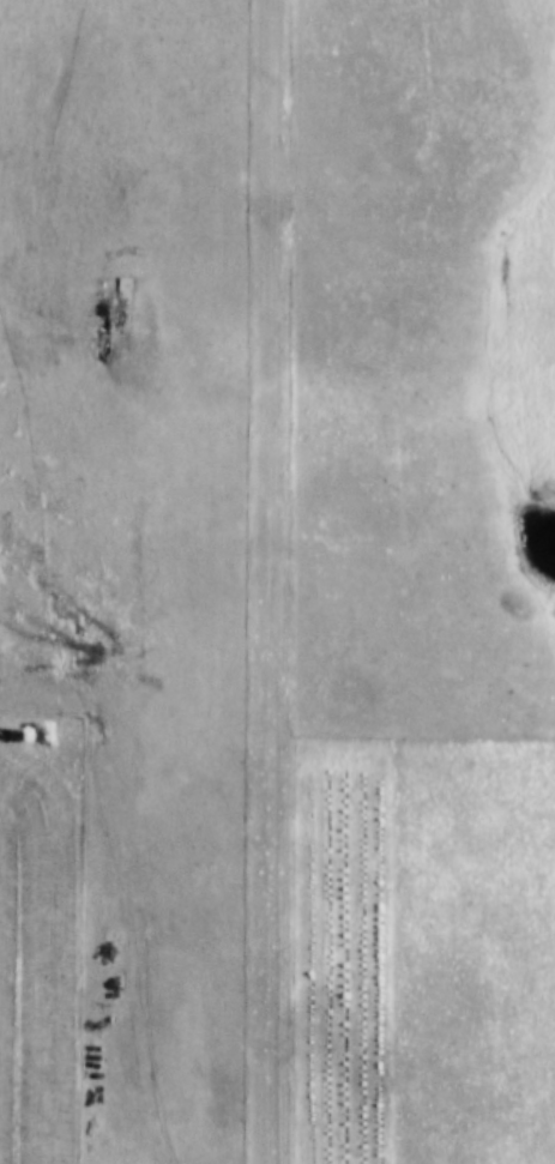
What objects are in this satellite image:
building: (113, 303)
road: (284, 581)

